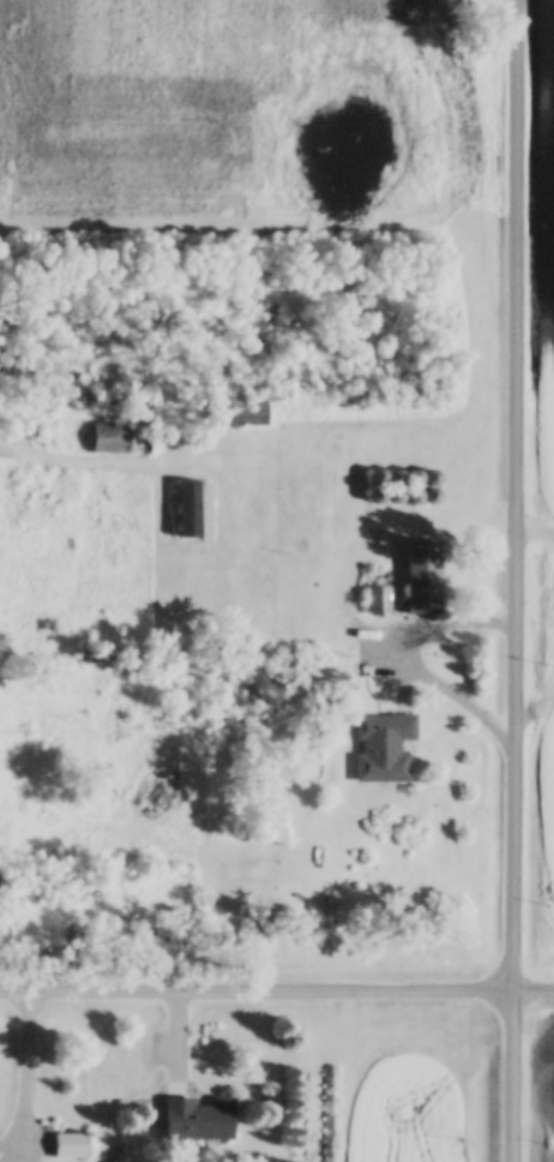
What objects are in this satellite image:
building: (242, 413)
building: (119, 436)
building: (424, 577)
road: (514, 581)
building: (379, 601)
road: (453, 689)
building: (385, 748)
road: (277, 994)
road: (26, 1077)
building: (201, 1118)
building: (72, 1145)

